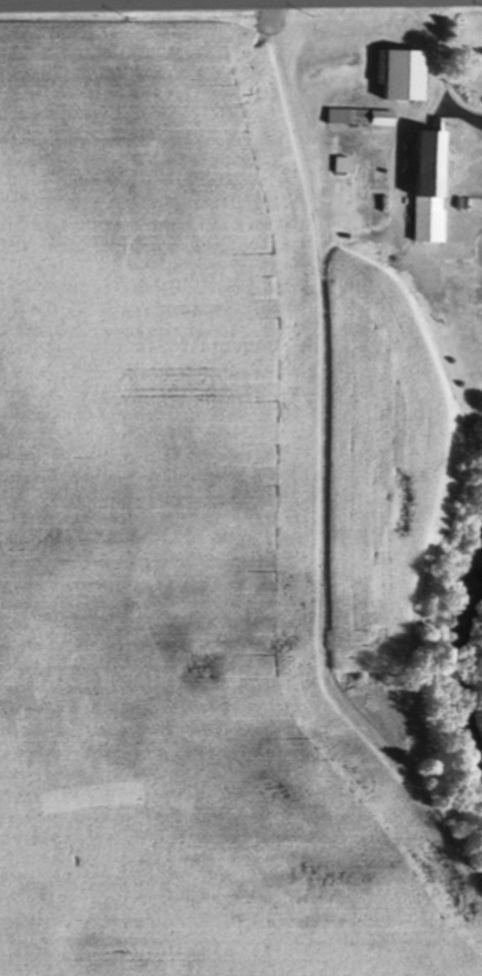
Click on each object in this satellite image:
road: (240, 2)
road: (29, 3)
building: (399, 78)
building: (357, 123)
building: (423, 188)
river: (453, 655)

